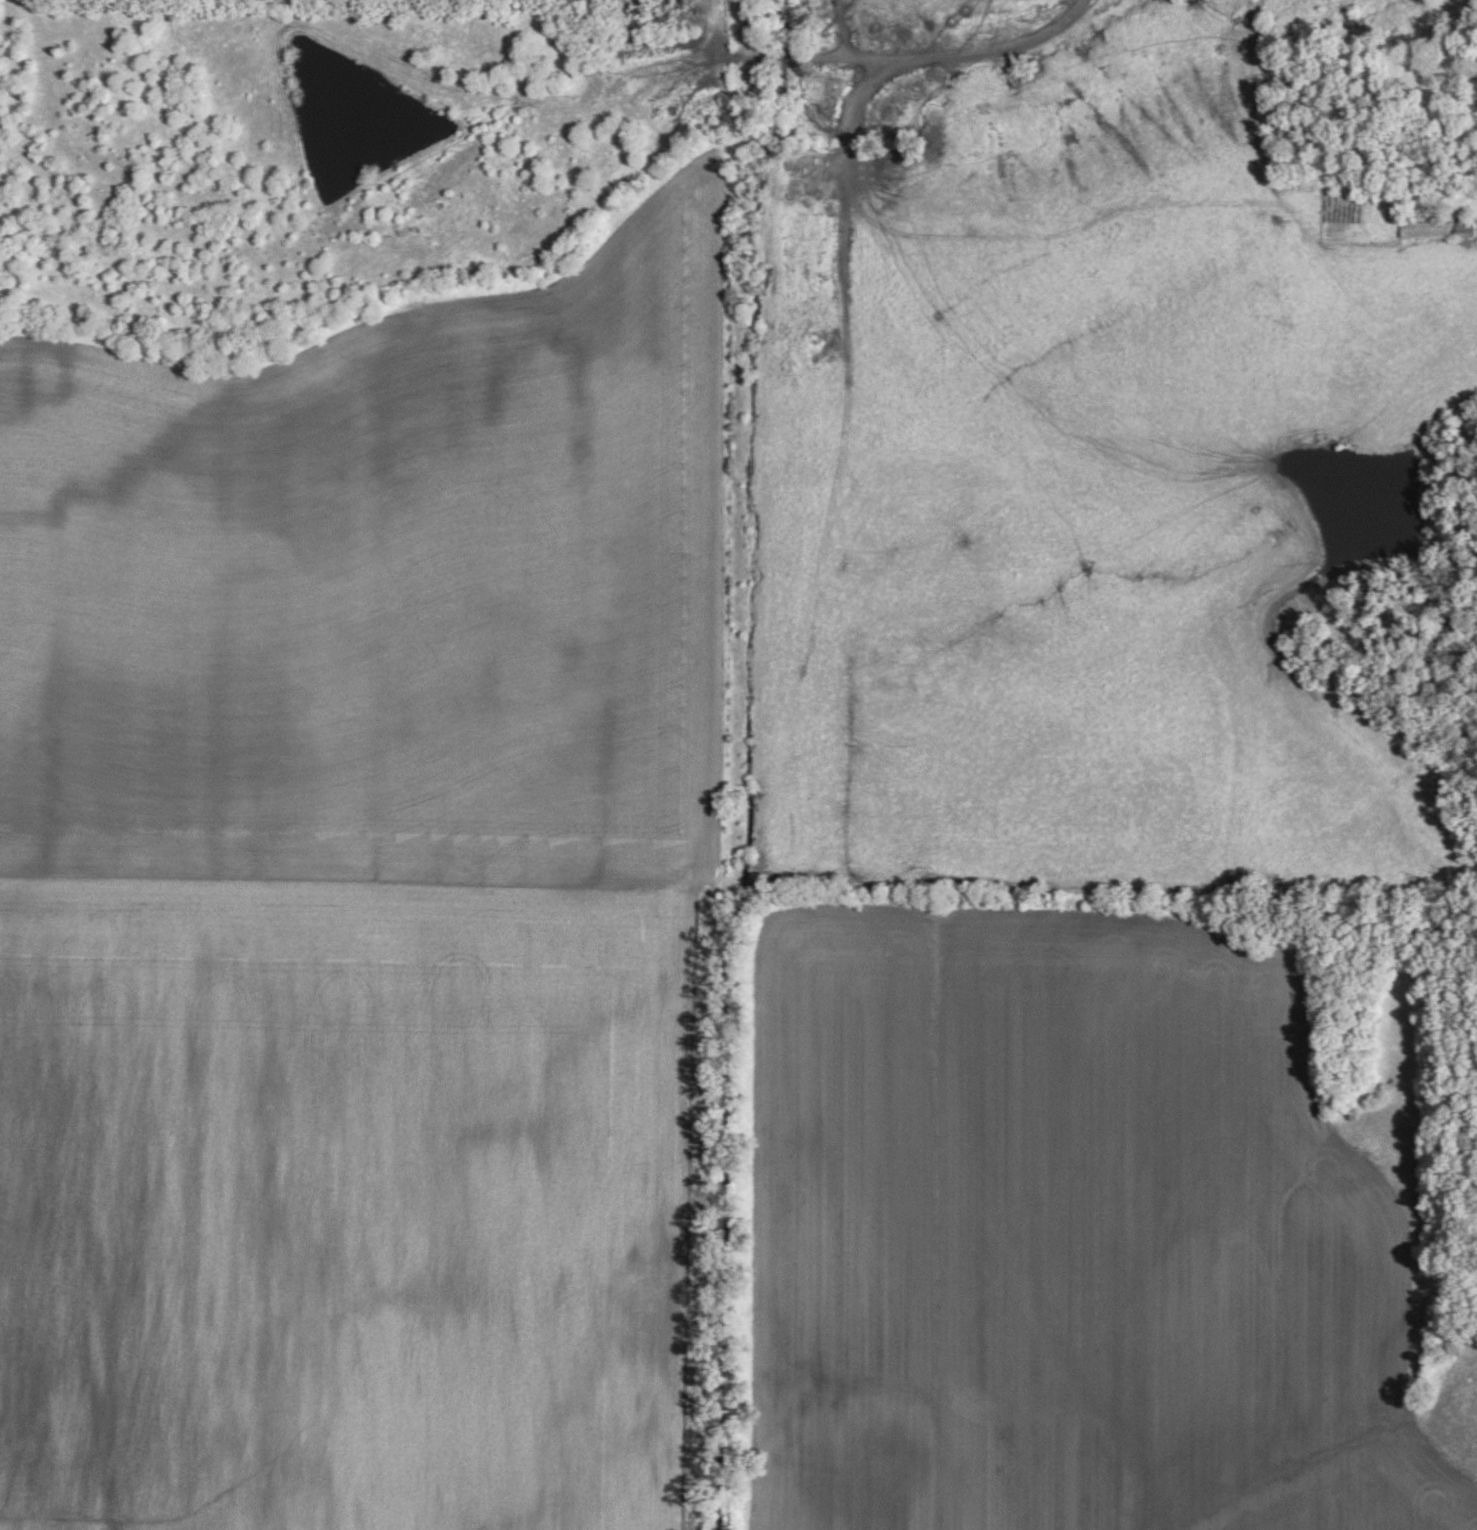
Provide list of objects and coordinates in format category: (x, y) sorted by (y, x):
building: (1436, 230)

